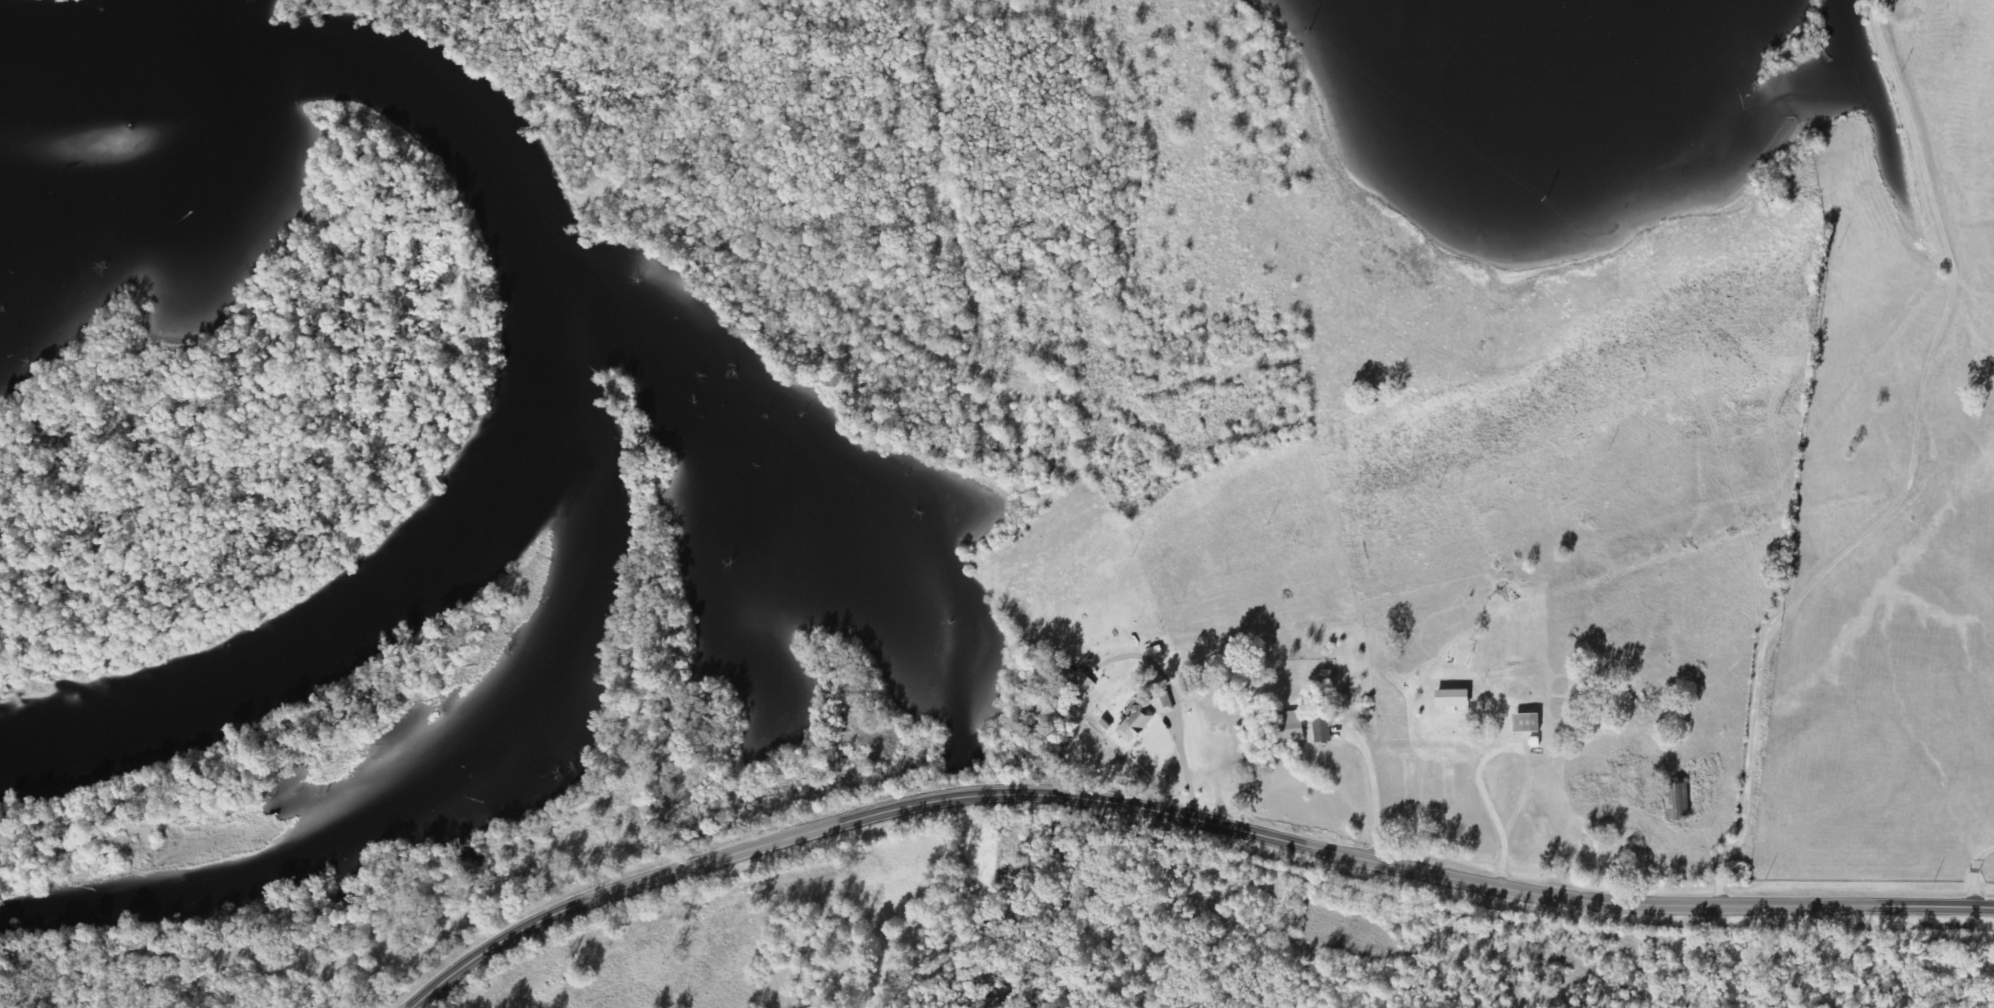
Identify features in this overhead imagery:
building: (1073, 681)
building: (1447, 699)
building: (1145, 713)
building: (1523, 723)
building: (1282, 728)
building: (1674, 802)
road: (1183, 819)
building: (1735, 874)
road: (1981, 900)

